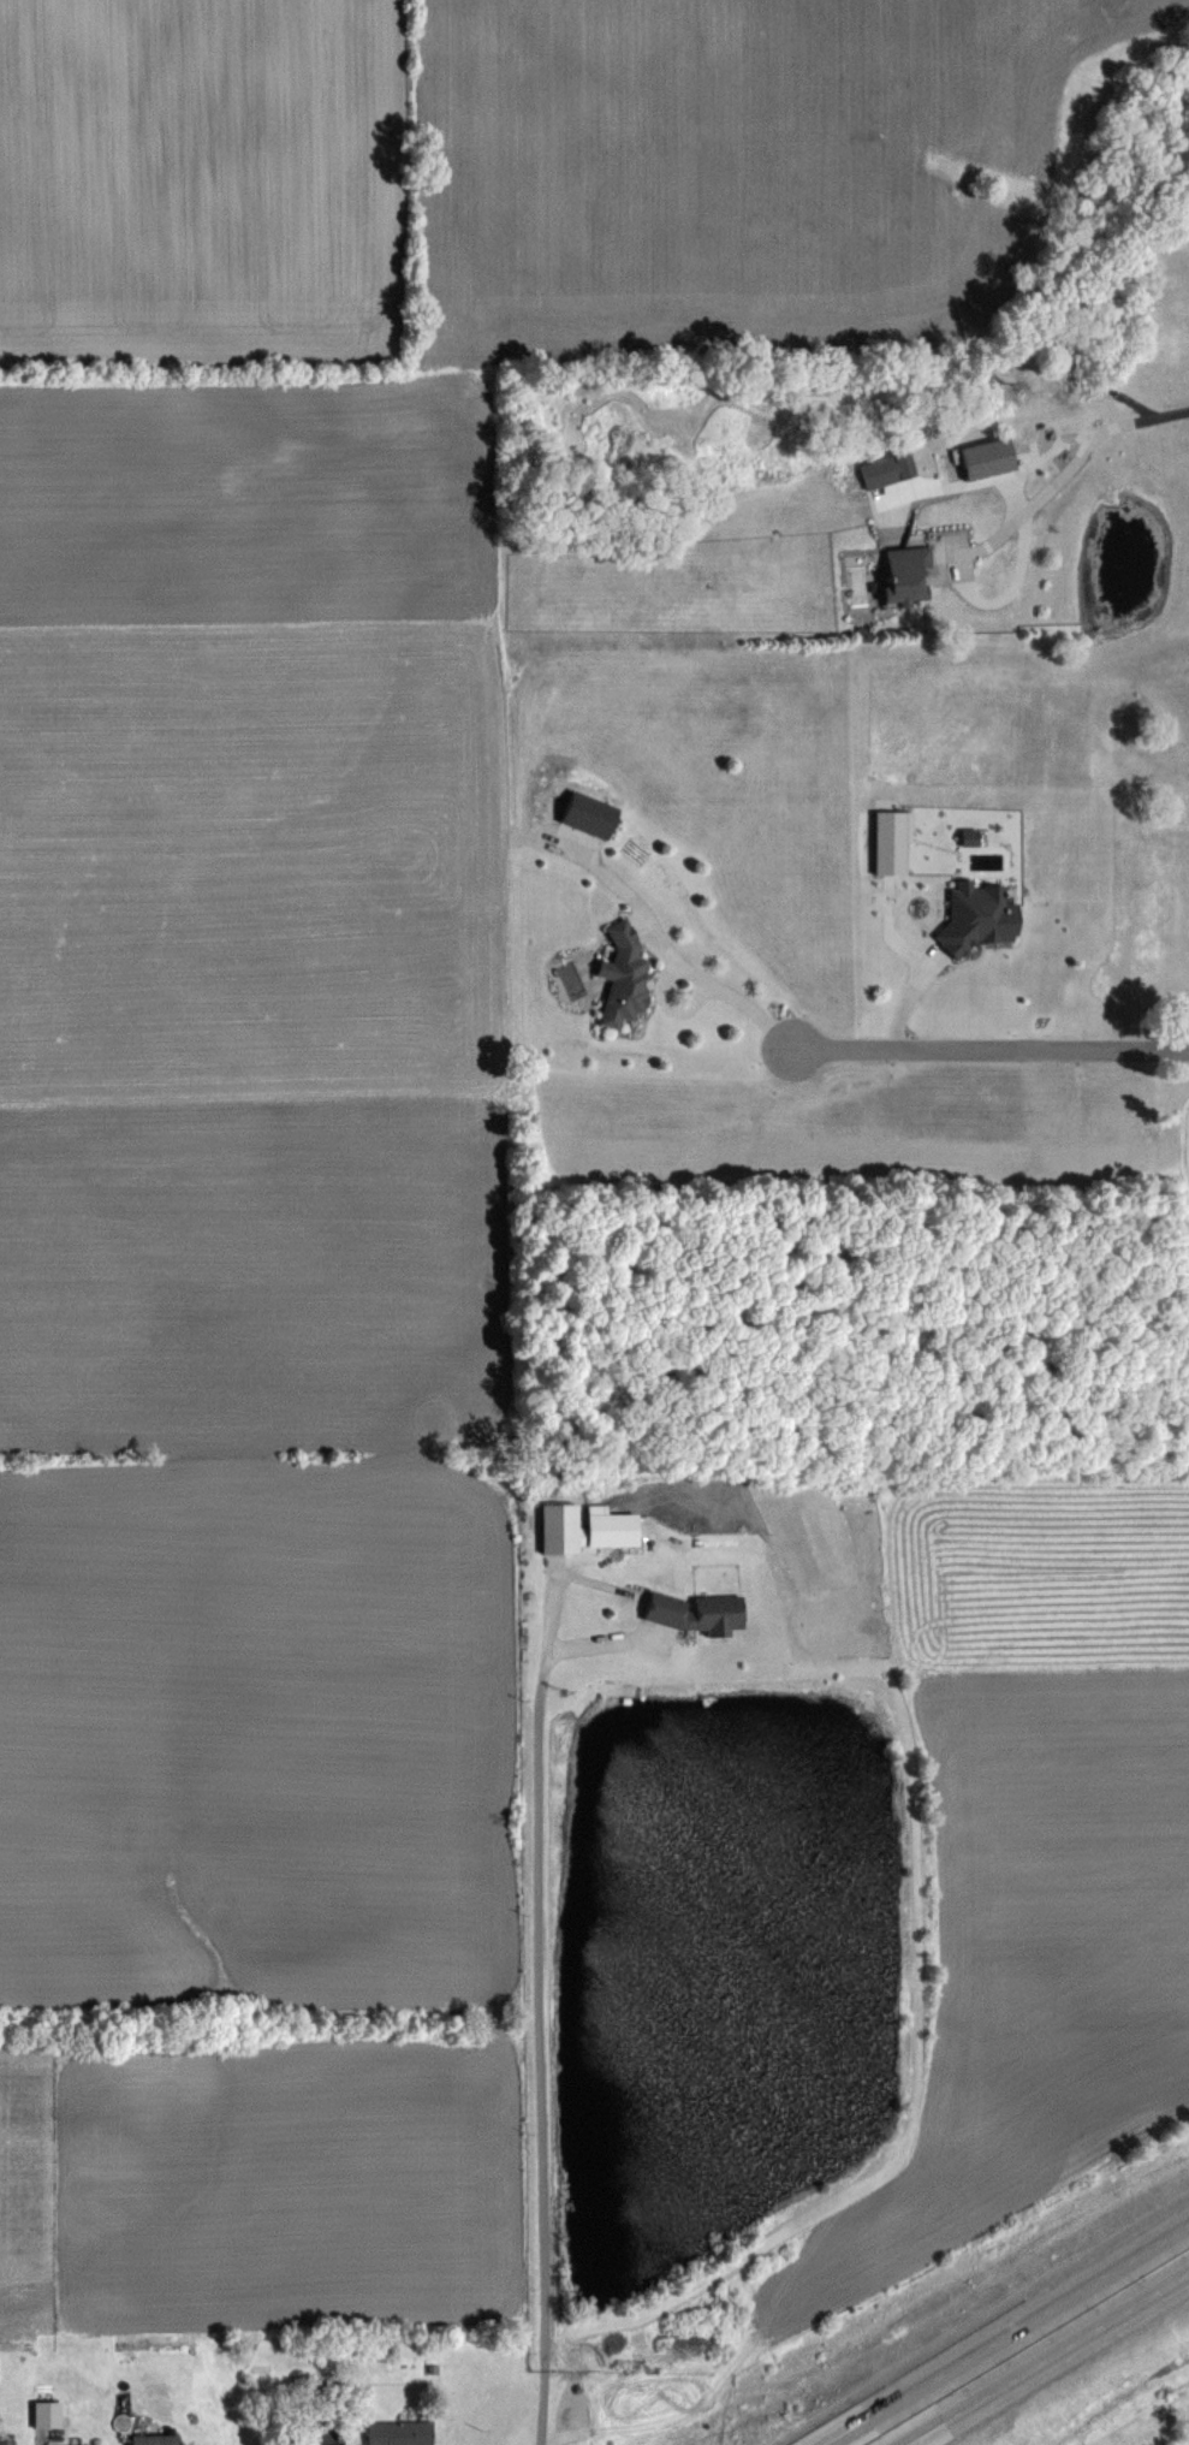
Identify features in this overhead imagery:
road: (1135, 416)
building: (985, 459)
road: (1016, 495)
building: (903, 575)
building: (587, 813)
building: (979, 918)
building: (622, 978)
road: (717, 986)
road: (989, 1048)
building: (583, 1527)
building: (695, 1612)
road: (537, 2002)
road: (1007, 2334)
road: (1047, 2360)
building: (47, 2413)
building: (323, 2432)
building: (398, 2432)
building: (153, 2439)

